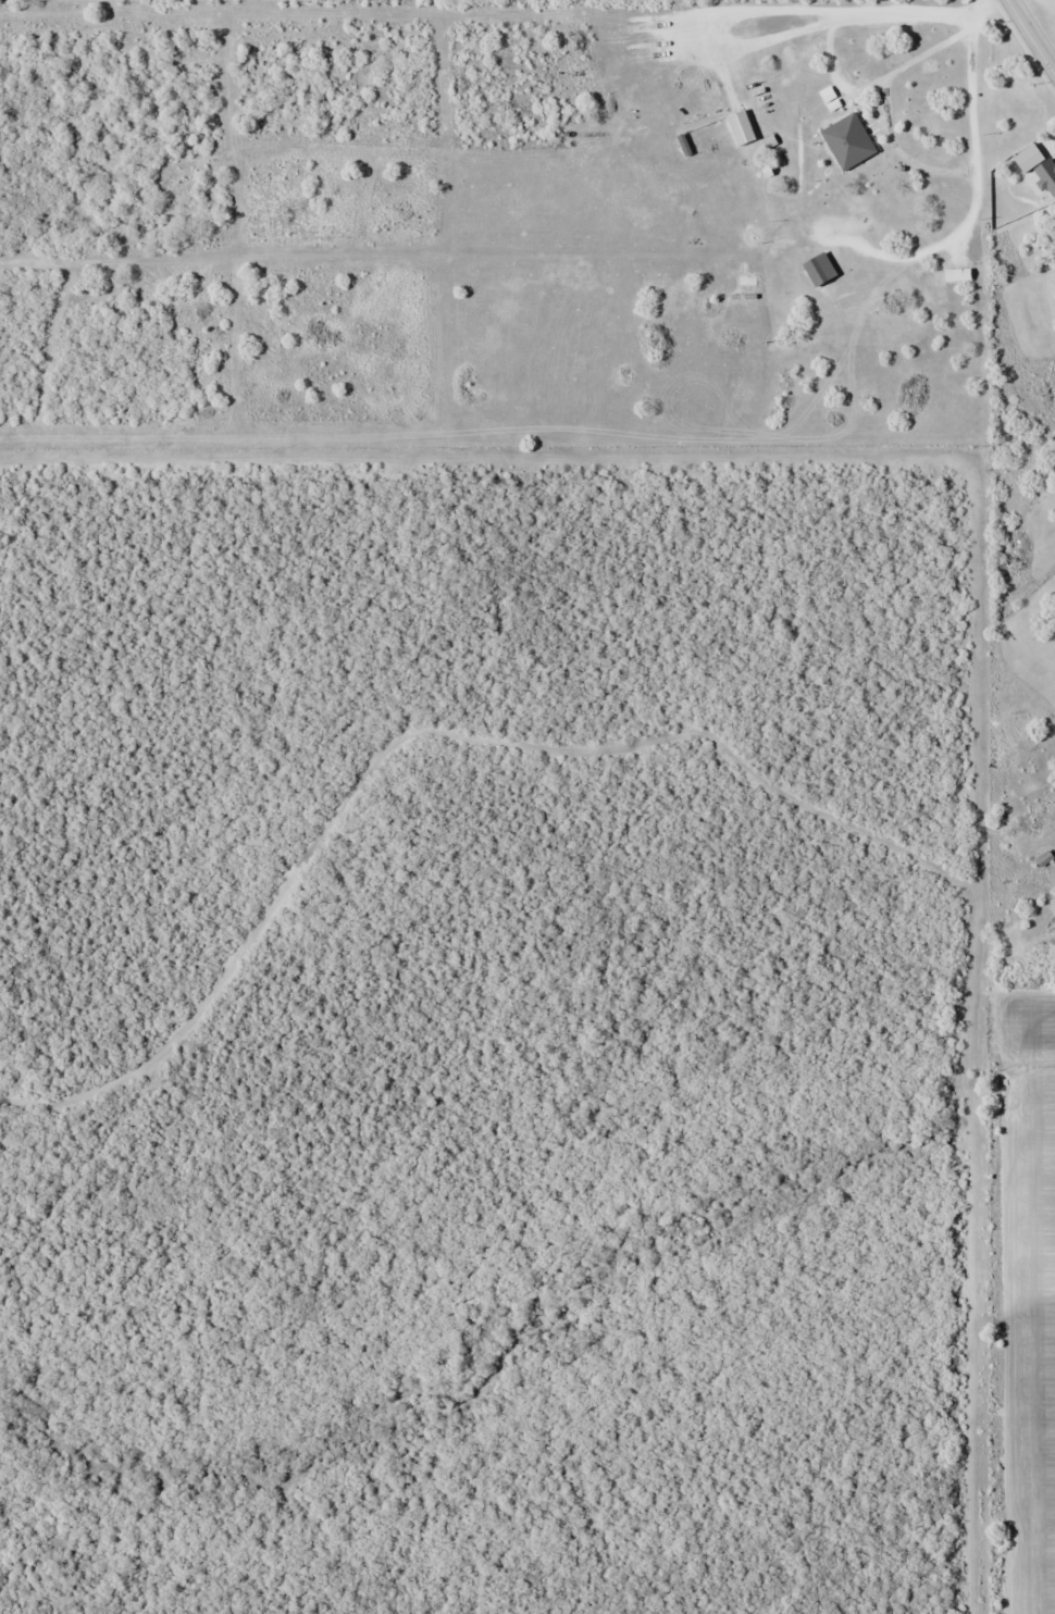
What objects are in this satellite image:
road: (1029, 39)
building: (847, 141)
building: (1023, 156)
building: (1046, 177)
building: (819, 270)
building: (1044, 859)

